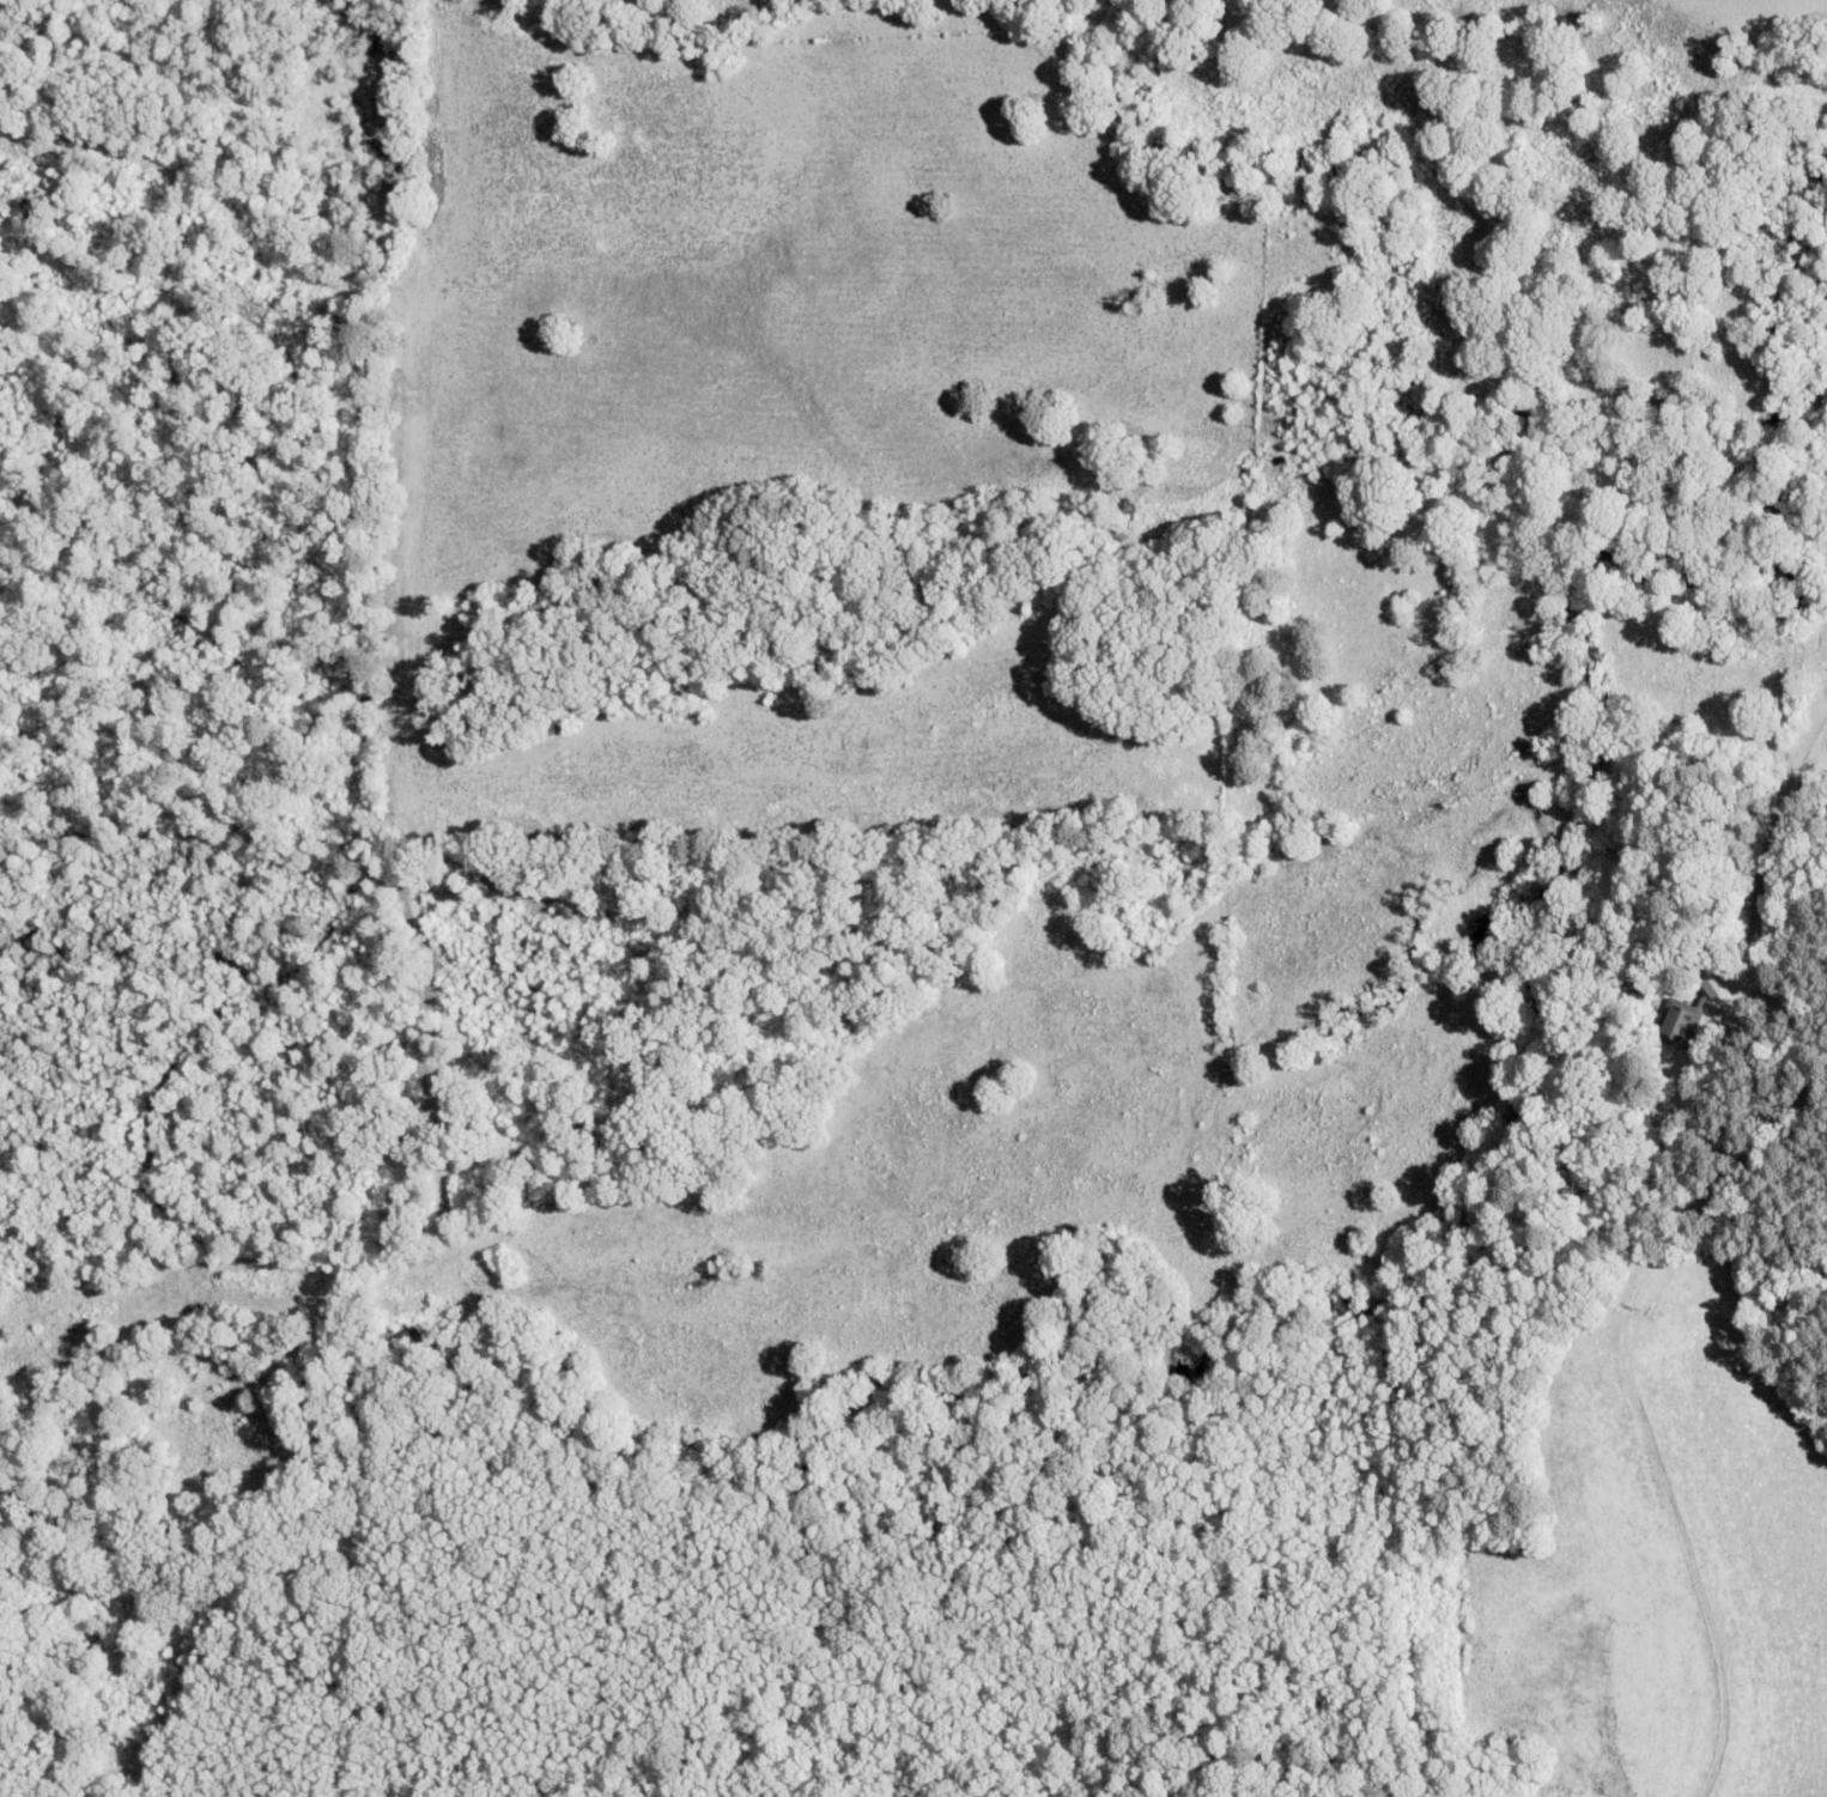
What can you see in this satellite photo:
building: (1674, 1024)

